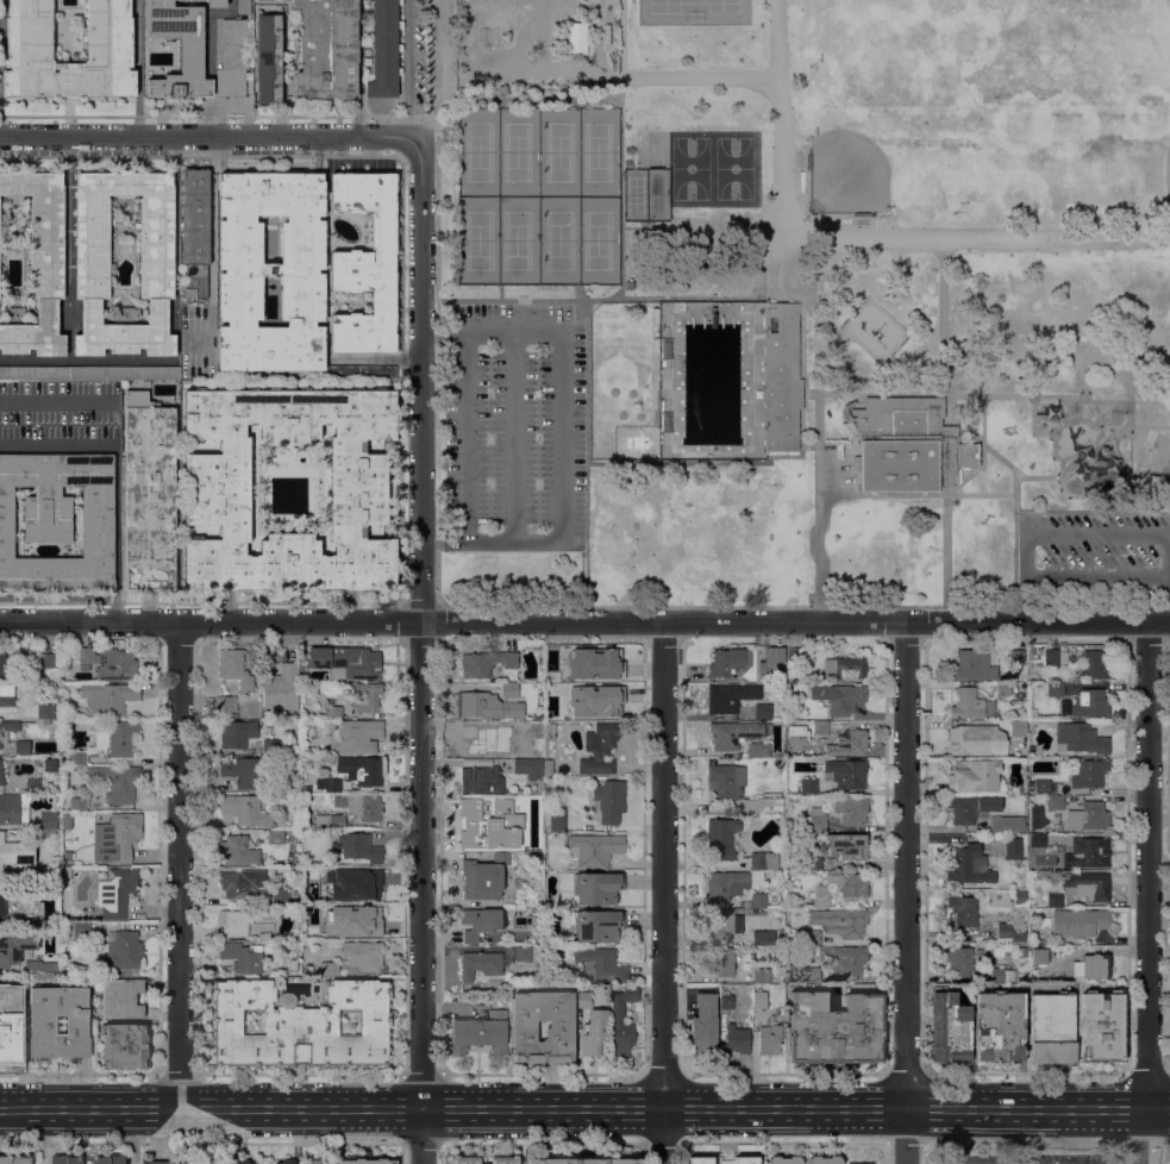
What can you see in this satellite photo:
building: (217, 2)
building: (243, 7)
park: (693, 12)
building: (576, 37)
building: (30, 38)
road: (620, 38)
building: (327, 49)
building: (384, 50)
building: (198, 51)
building: (269, 57)
road: (138, 67)
road: (407, 67)
road: (437, 71)
road: (524, 71)
road: (700, 76)
park: (991, 105)
park: (900, 114)
park: (1130, 130)
road: (208, 133)
park: (690, 167)
park: (734, 167)
road: (622, 189)
park: (644, 194)
park: (539, 195)
road: (636, 226)
building: (195, 230)
road: (870, 238)
road: (211, 243)
building: (156, 248)
road: (770, 249)
building: (39, 261)
building: (365, 263)
building: (271, 270)
road: (69, 281)
building: (628, 284)
road: (500, 290)
road: (577, 290)
road: (693, 296)
road: (511, 299)
road: (176, 300)
park: (802, 300)
road: (889, 314)
road: (499, 327)
road: (431, 328)
road: (803, 352)
road: (833, 352)
road: (869, 352)
road: (434, 358)
building: (362, 370)
building: (35, 371)
building: (125, 371)
building: (780, 376)
road: (1007, 394)
road: (86, 395)
parking lot: (512, 424)
road: (818, 427)
road: (561, 432)
road: (972, 432)
road: (512, 434)
road: (465, 436)
road: (1052, 443)
building: (906, 446)
road: (586, 450)
road: (719, 461)
parking lot: (833, 469)
road: (1038, 475)
building: (363, 488)
road: (916, 493)
building: (149, 494)
road: (946, 497)
road: (1091, 509)
building: (58, 520)
road: (1095, 532)
road: (118, 536)
road: (433, 543)
road: (501, 543)
road: (1027, 553)
parking lot: (1095, 553)
road: (1164, 553)
road: (1096, 575)
road: (1027, 597)
road: (1165, 597)
road: (201, 600)
road: (421, 601)
road: (803, 605)
road: (584, 620)
road: (289, 642)
road: (423, 650)
building: (1033, 651)
building: (87, 653)
building: (799, 653)
building: (777, 655)
building: (1016, 656)
building: (1055, 657)
building: (51, 659)
building: (728, 661)
building: (346, 662)
building: (486, 662)
building: (1095, 663)
building: (115, 664)
road: (208, 664)
building: (972, 665)
building: (846, 667)
building: (6, 668)
building: (234, 668)
building: (595, 681)
building: (281, 687)
building: (1002, 688)
building: (1056, 689)
building: (7, 694)
building: (367, 696)
building: (730, 696)
building: (839, 696)
building: (110, 697)
building: (226, 702)
building: (492, 702)
building: (1090, 702)
building: (971, 703)
building: (46, 711)
building: (333, 711)
building: (763, 711)
road: (878, 714)
road: (868, 722)
road: (1122, 722)
building: (821, 726)
building: (1018, 727)
building: (551, 730)
building: (523, 732)
building: (237, 733)
building: (733, 733)
building: (357, 734)
building: (4, 737)
building: (120, 737)
building: (1081, 738)
building: (971, 739)
building: (475, 740)
building: (851, 743)
building: (23, 746)
building: (270, 746)
building: (600, 747)
building: (757, 749)
road: (630, 750)
building: (1031, 750)
building: (79, 757)
road: (468, 761)
building: (50, 764)
building: (530, 766)
road: (640, 766)
building: (362, 769)
building: (242, 770)
building: (1, 772)
building: (846, 772)
building: (1089, 772)
building: (975, 775)
building: (481, 778)
road: (514, 778)
building: (725, 781)
building: (117, 782)
building: (333, 783)
building: (33, 784)
building: (1030, 784)
building: (809, 786)
building: (1041, 786)
building: (611, 800)
building: (1055, 801)
building: (79, 802)
building: (364, 805)
road: (703, 806)
building: (763, 806)
building: (971, 807)
building: (10, 808)
building: (851, 808)
building: (246, 809)
building: (1089, 815)
building: (818, 819)
building: (48, 820)
building: (330, 820)
building: (557, 821)
building: (1008, 824)
building: (490, 825)
building: (1058, 826)
building: (44, 832)
building: (276, 836)
building: (117, 837)
building: (721, 838)
building: (1038, 839)
building: (358, 845)
building: (847, 845)
building: (594, 847)
building: (1013, 847)
road: (697, 849)
building: (237, 850)
building: (1089, 852)
building: (15, 853)
building: (764, 861)
building: (812, 862)
road: (179, 864)
road: (638, 864)
road: (706, 864)
road: (864, 864)
road: (907, 864)
building: (971, 864)
road: (1149, 864)
building: (65, 872)
building: (484, 877)
building: (755, 877)
road: (643, 880)
building: (353, 882)
building: (237, 883)
building: (849, 883)
building: (727, 884)
building: (1088, 884)
building: (596, 888)
building: (117, 891)
road: (664, 891)
building: (280, 894)
building: (1020, 896)
parking lot: (1169, 896)
building: (1055, 899)
building: (756, 900)
building: (821, 900)
road: (868, 901)
building: (2, 905)
building: (963, 909)
building: (353, 919)
road: (642, 919)
building: (234, 920)
building: (481, 921)
building: (844, 921)
building: (1080, 921)
building: (30, 922)
building: (721, 922)
building: (597, 925)
building: (79, 930)
building: (1009, 932)
building: (764, 937)
building: (811, 937)
road: (864, 940)
building: (15, 946)
building: (125, 949)
road: (465, 950)
building: (980, 951)
building: (1022, 951)
building: (362, 953)
building: (528, 953)
building: (1039, 955)
building: (242, 957)
building: (844, 958)
building: (961, 959)
building: (721, 960)
building: (480, 963)
building: (600, 963)
building: (293, 965)
building: (1093, 966)
road: (1165, 966)
building: (39, 968)
building: (330, 968)
road: (646, 970)
building: (762, 975)
building: (812, 975)
building: (1002, 975)
road: (1044, 985)
building: (18, 994)
building: (583, 994)
building: (121, 997)
building: (759, 997)
building: (726, 999)
building: (622, 1020)
building: (42, 1024)
building: (301, 1024)
building: (705, 1024)
building: (561, 1025)
building: (1101, 1025)
building: (1000, 1026)
building: (834, 1027)
building: (950, 1027)
building: (1052, 1027)
building: (480, 1031)
building: (595, 1032)
building: (10, 1034)
building: (737, 1038)
building: (770, 1038)
building: (125, 1045)
road: (1077, 1047)
road: (477, 1049)
building: (1169, 1057)
road: (478, 1059)
road: (594, 1065)
road: (1027, 1072)
road: (1169, 1072)
road: (543, 1074)
road: (274, 1108)
road: (394, 1108)
road: (453, 1108)
road: (545, 1108)
road: (633, 1108)
road: (713, 1108)
road: (786, 1108)
road: (857, 1108)
road: (933, 1108)
road: (984, 1108)
road: (1072, 1108)
road: (56, 1109)
road: (146, 1109)
road: (1144, 1109)
road: (1159, 1109)
road: (159, 1133)
road: (905, 1135)
road: (42, 1137)
road: (1138, 1137)
building: (14, 1159)
building: (368, 1159)
building: (483, 1159)
building: (701, 1159)
building: (746, 1159)
building: (784, 1159)
building: (824, 1159)
road: (159, 1160)
building: (584, 1160)
building: (108, 1162)
building: (174, 1162)
building: (246, 1162)
building: (286, 1162)
building: (313, 1162)
building: (861, 1163)

